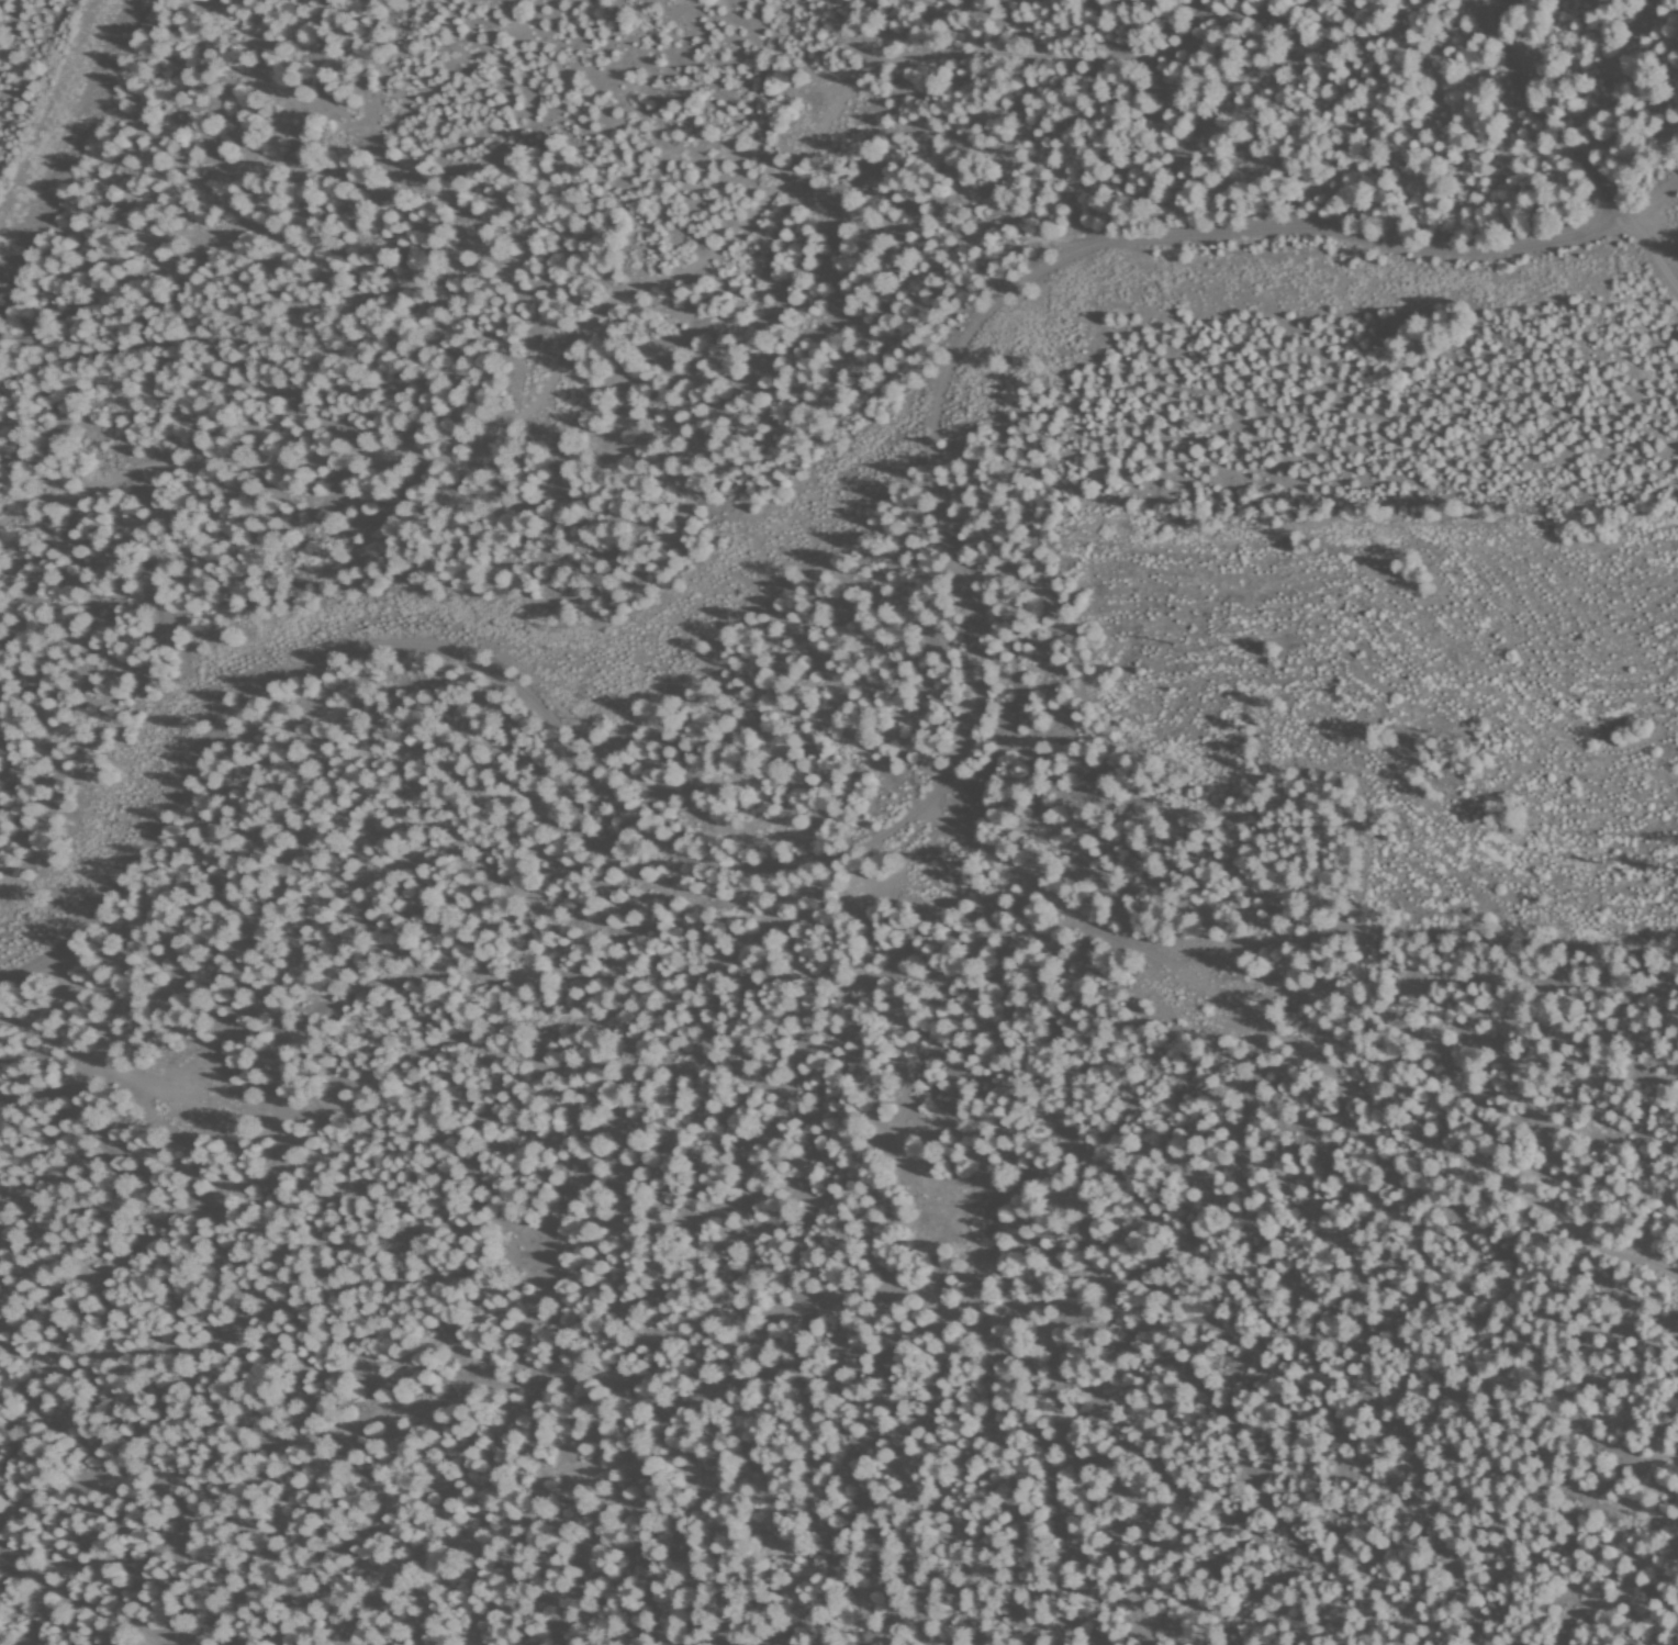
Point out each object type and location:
road: (60, 131)
road: (1575, 156)
road: (681, 279)

